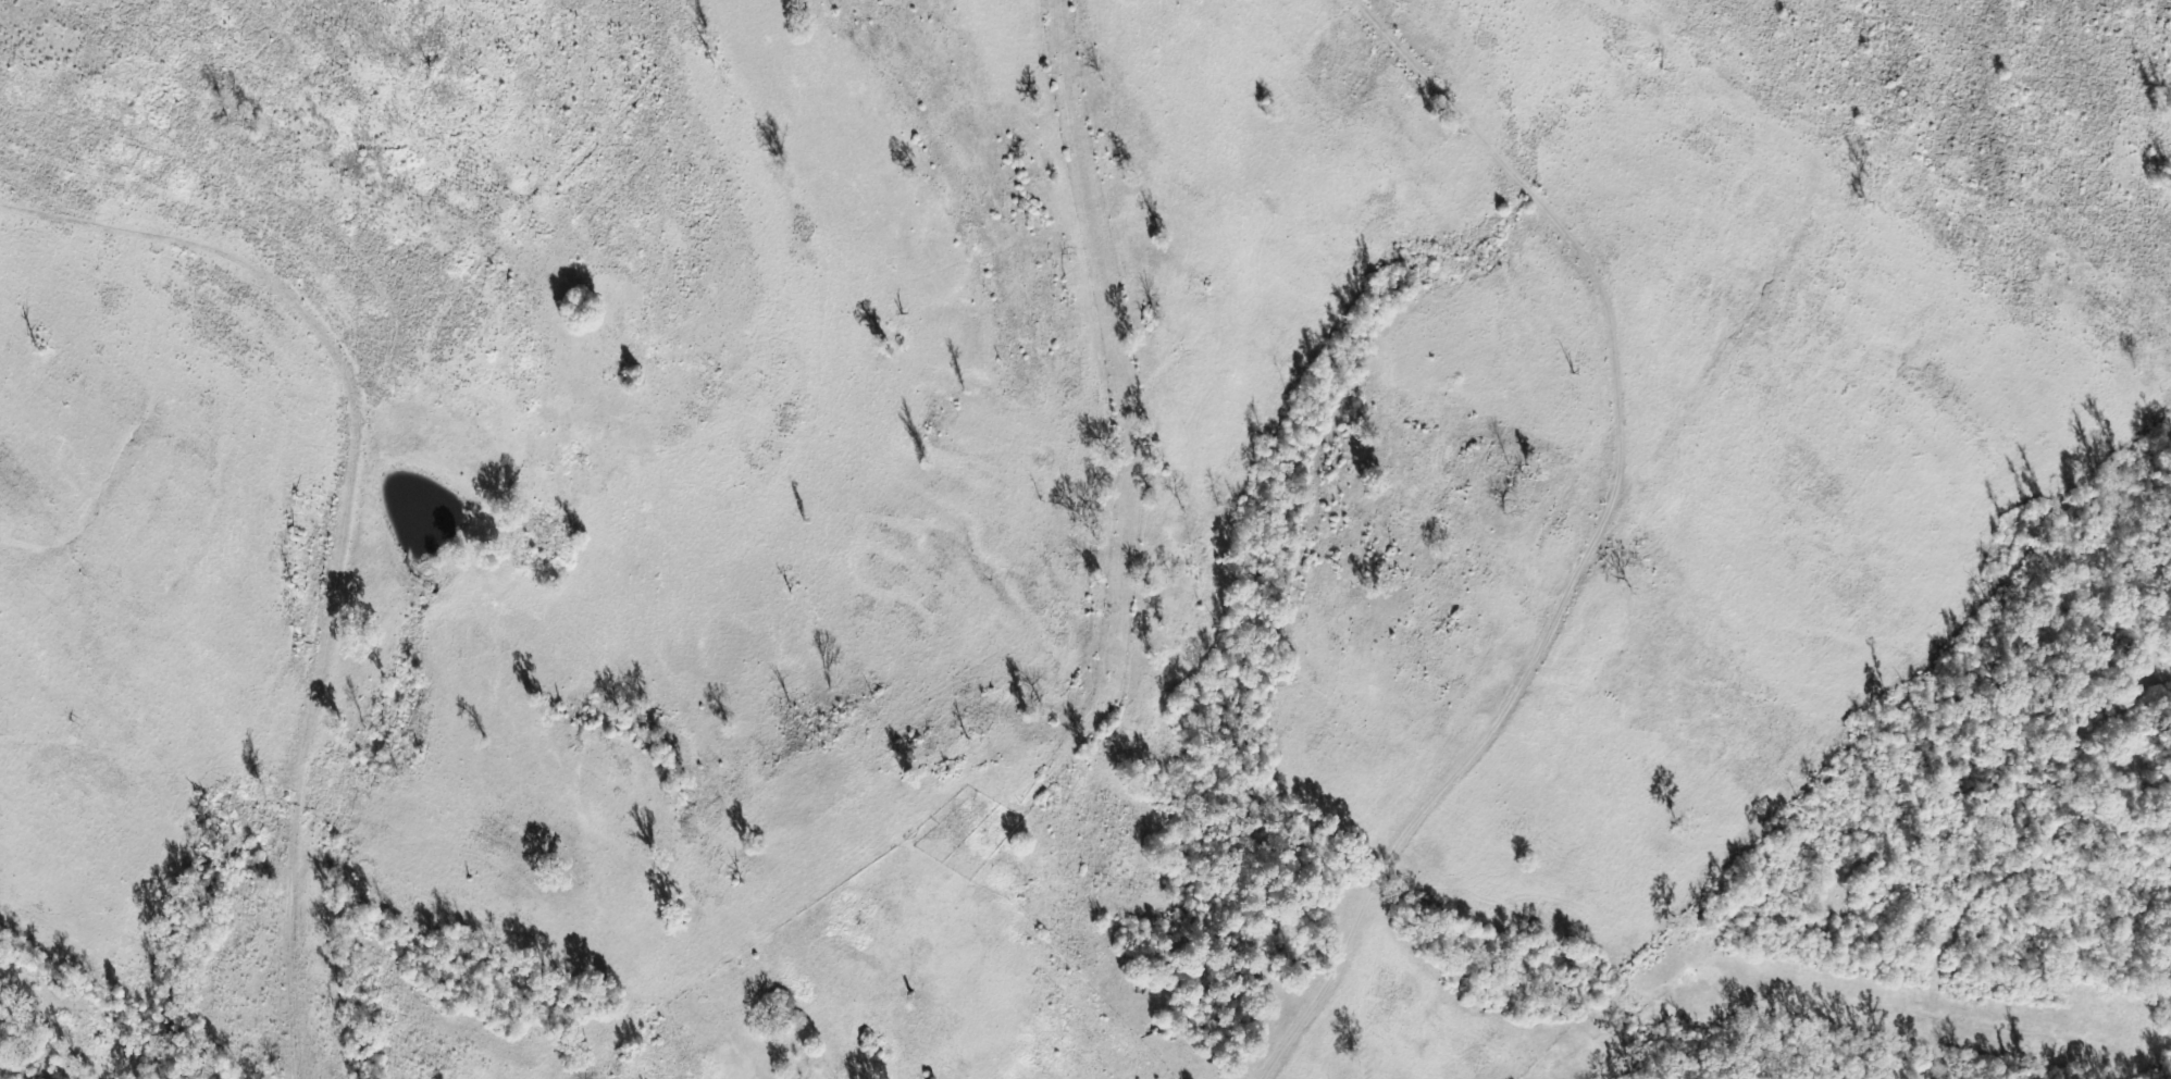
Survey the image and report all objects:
road: (298, 533)
road: (1586, 534)

